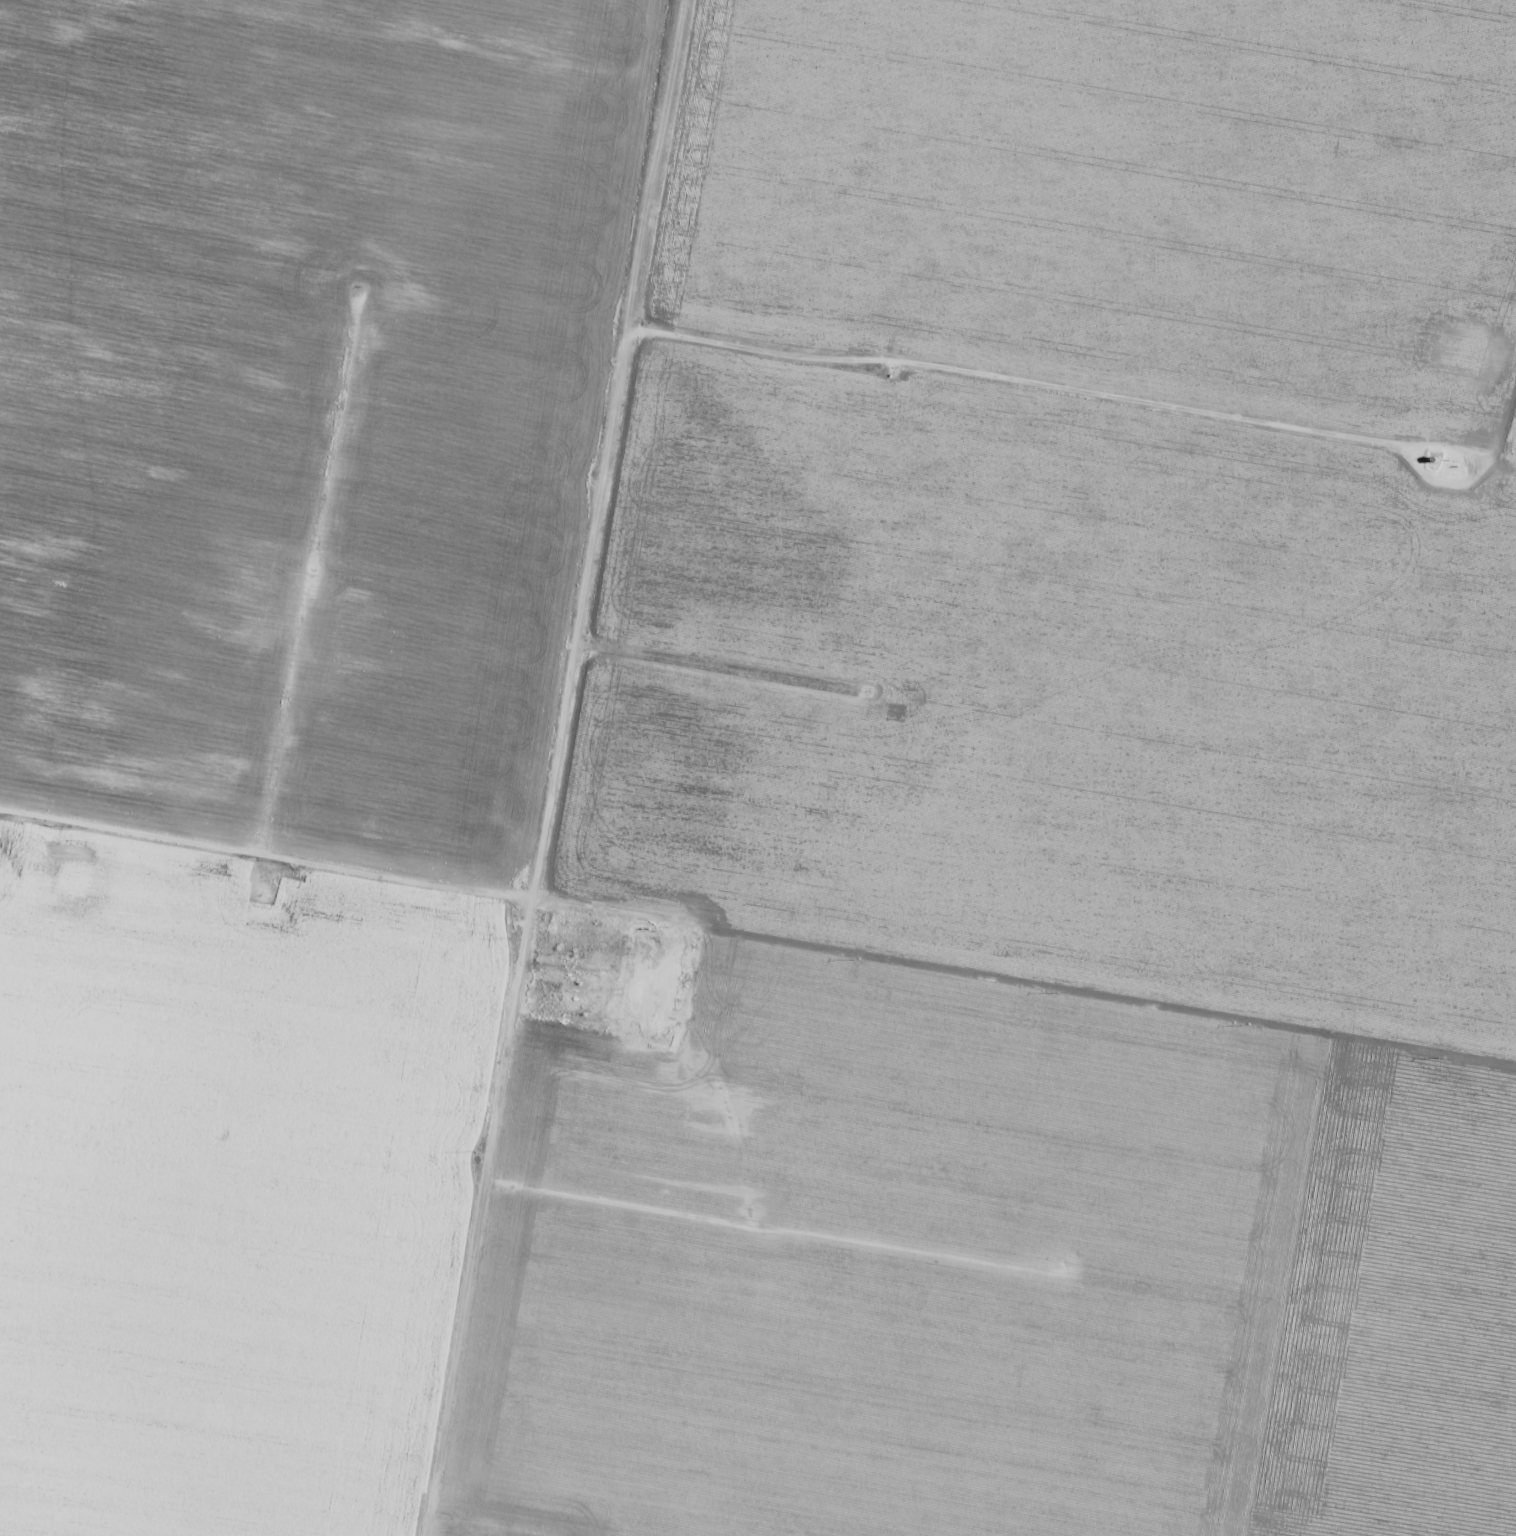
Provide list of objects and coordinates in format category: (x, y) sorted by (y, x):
road: (555, 766)
road: (758, 938)

